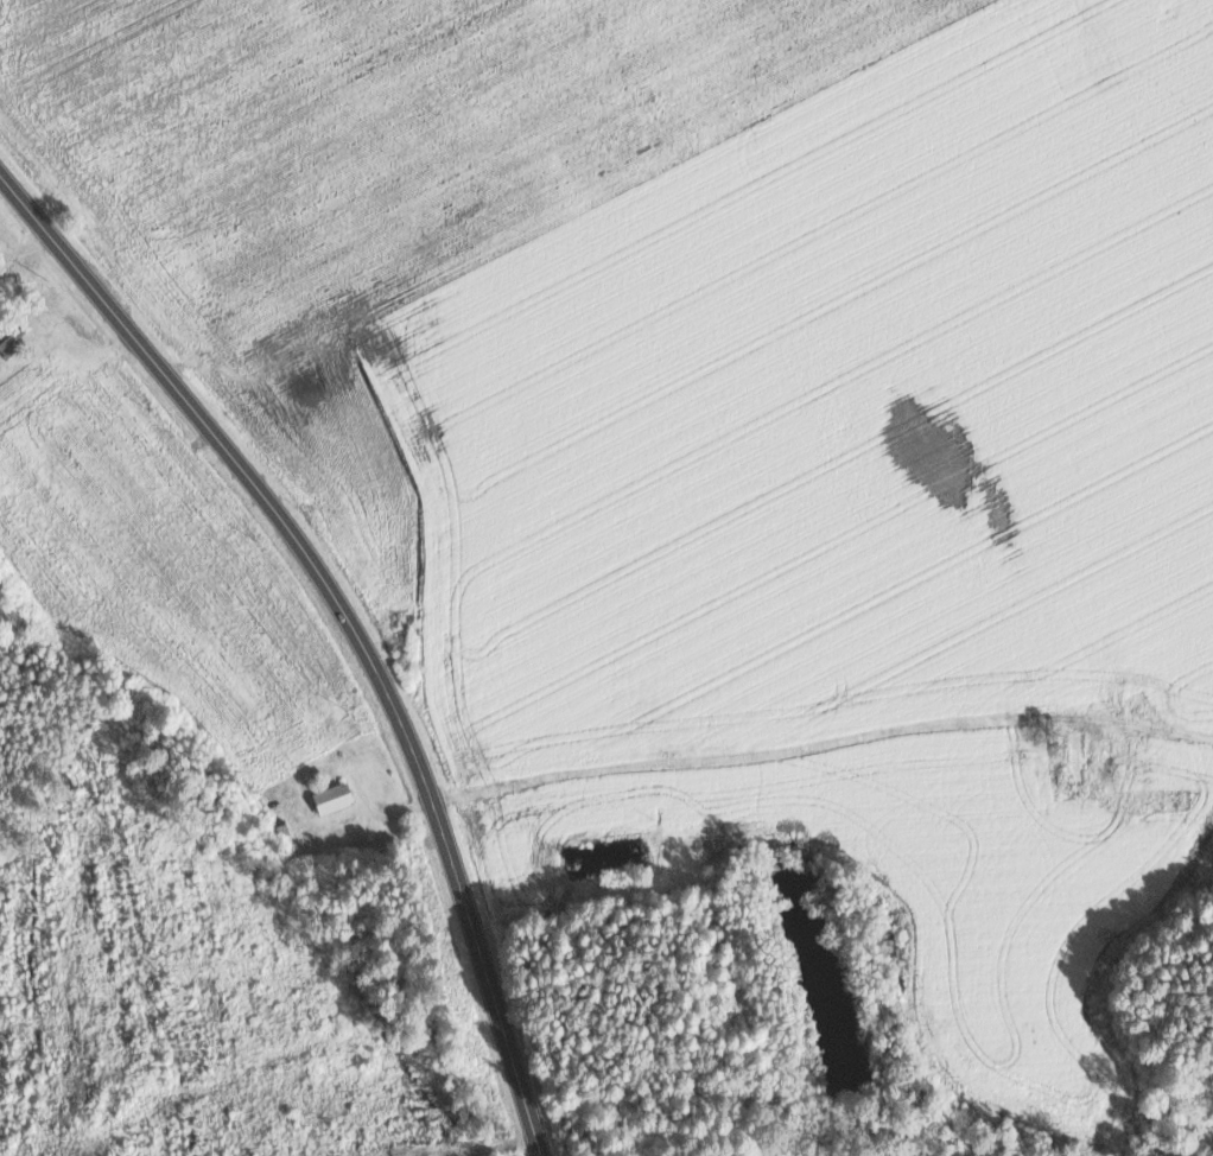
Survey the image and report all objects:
road: (353, 622)
road: (802, 747)
building: (1073, 749)
building: (331, 796)
building: (1163, 802)

